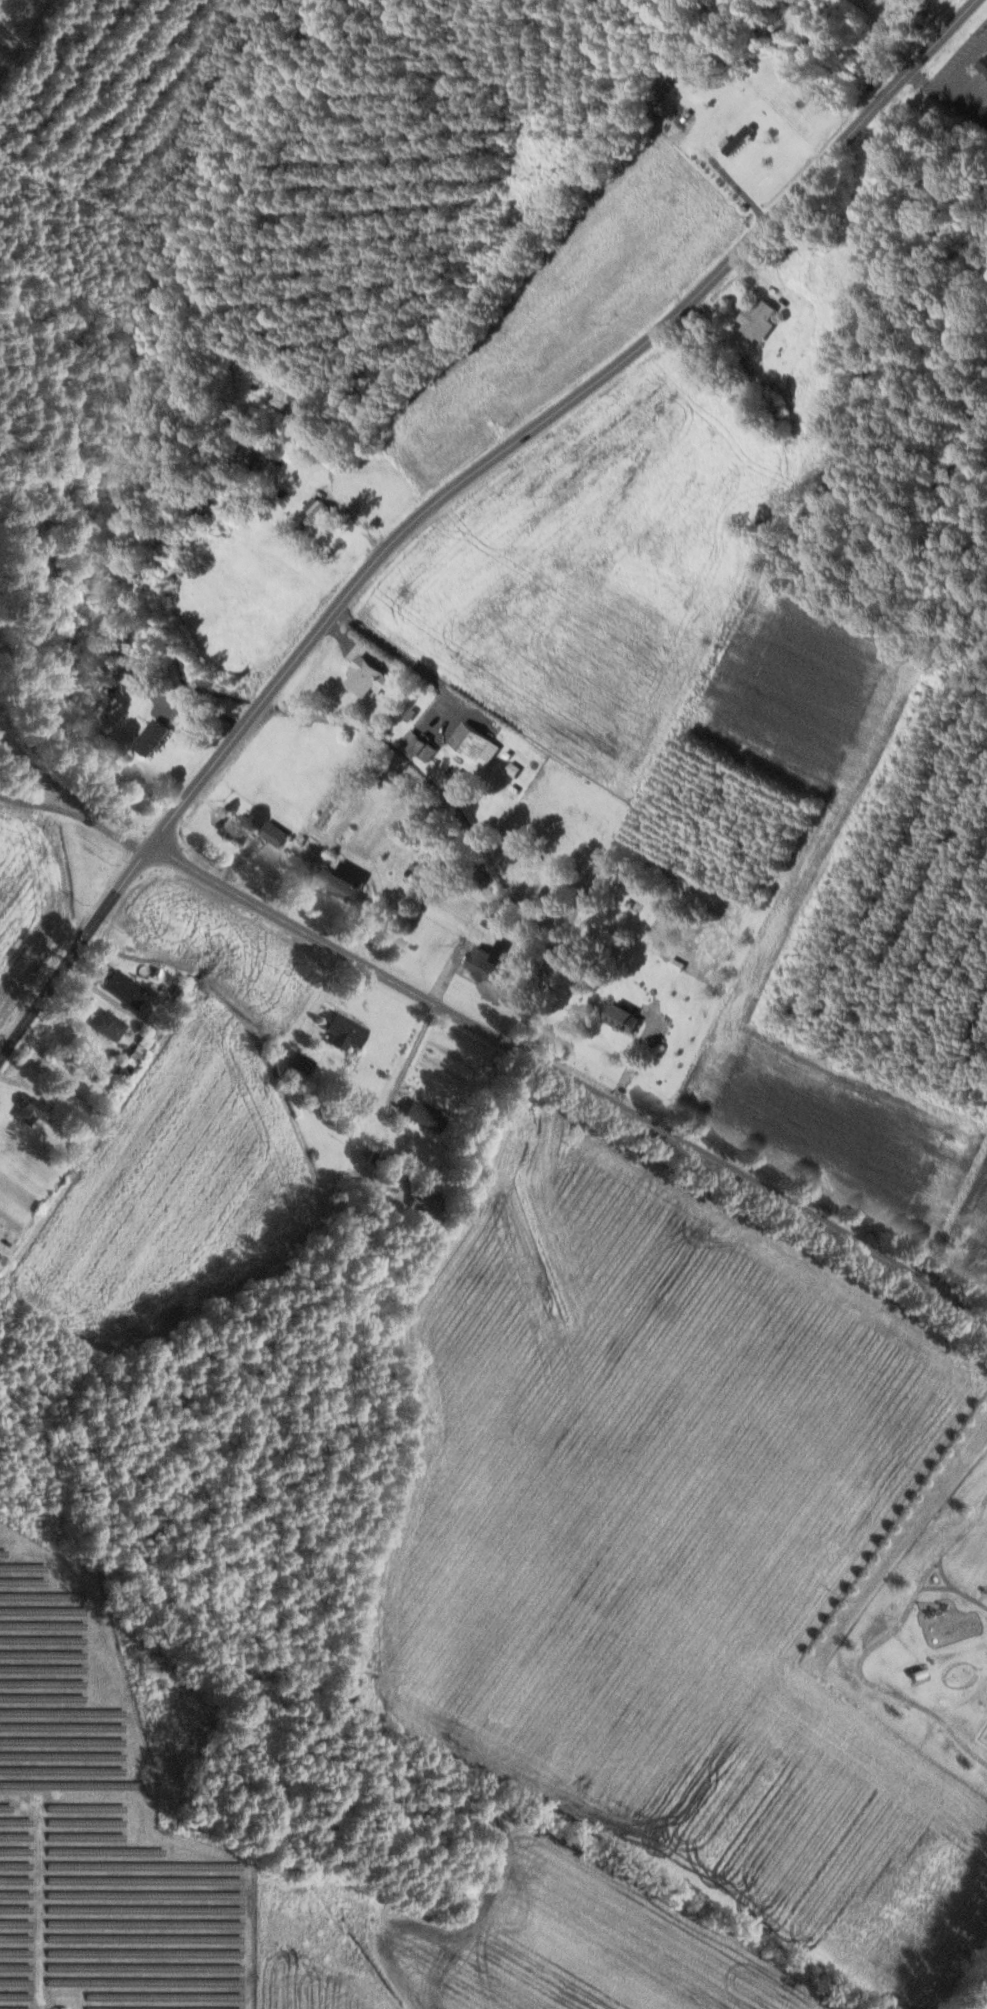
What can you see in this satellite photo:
building: (986, 64)
building: (740, 136)
building: (760, 319)
road: (557, 412)
building: (321, 511)
building: (369, 676)
building: (154, 736)
building: (473, 740)
building: (423, 744)
building: (459, 781)
road: (79, 814)
building: (235, 830)
building: (276, 832)
building: (344, 880)
building: (493, 913)
road: (79, 952)
building: (491, 962)
building: (126, 989)
building: (626, 1018)
building: (110, 1025)
building: (346, 1031)
building: (300, 1066)
road: (575, 1079)
building: (33, 1109)
building: (426, 1115)
building: (426, 1201)
crop: (974, 1234)
crop: (670, 1547)
road: (940, 1553)
road: (934, 1587)
park: (924, 1614)
road: (863, 1677)
park: (984, 1736)
solar farm: (98, 1823)
crop: (509, 1941)

